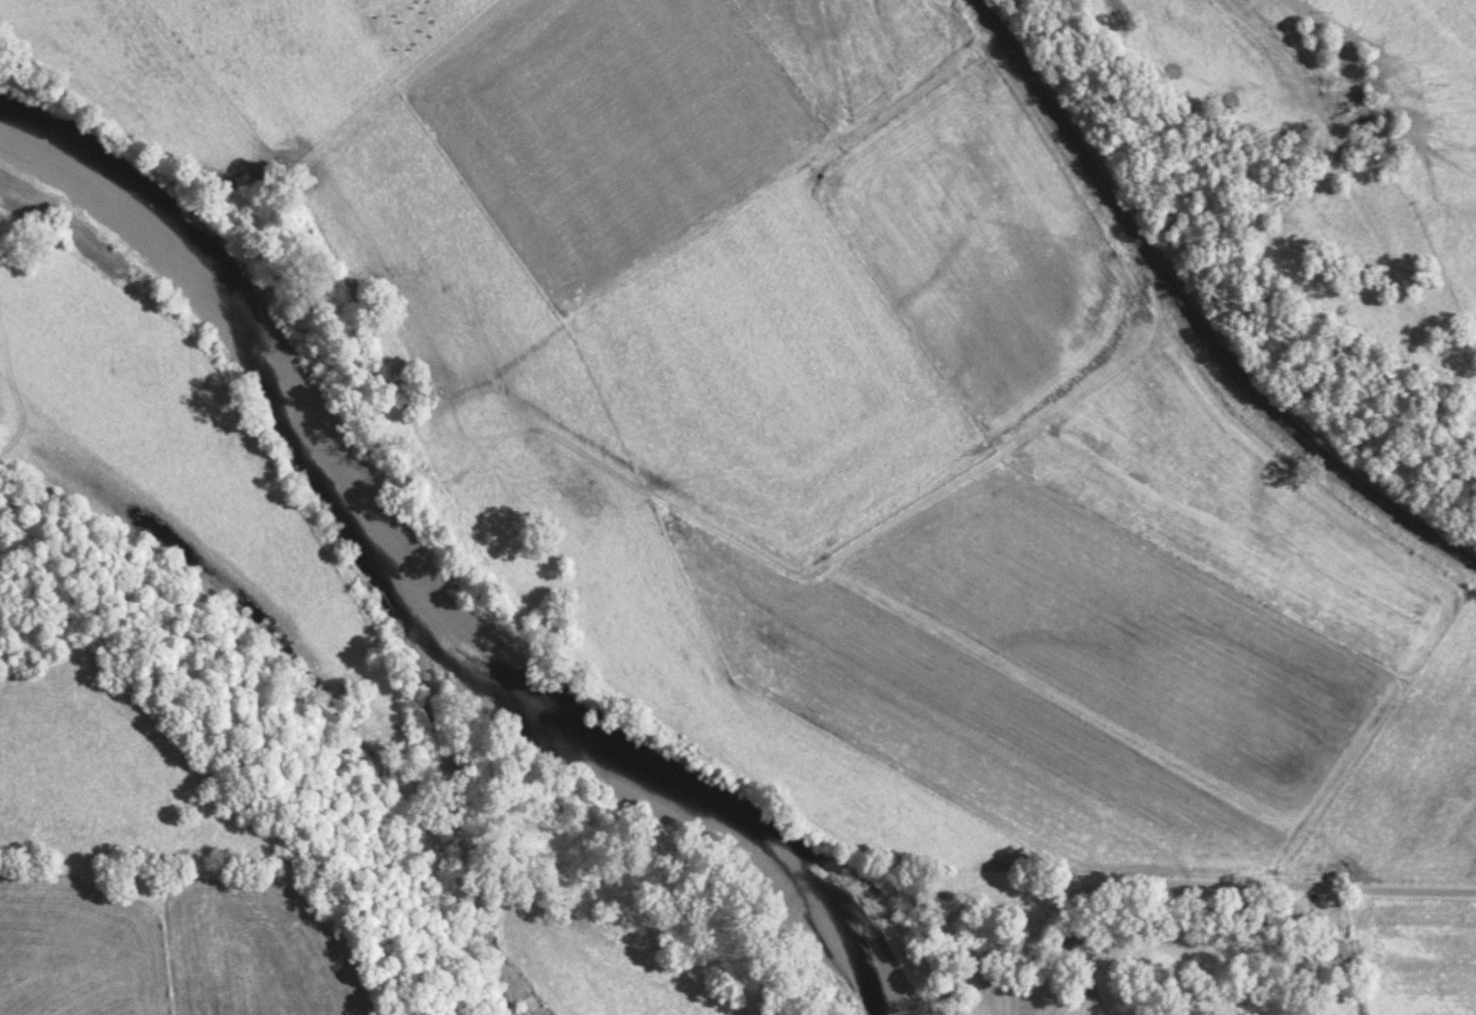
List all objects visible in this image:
road: (1193, 314)
road: (1385, 339)
river: (402, 600)

